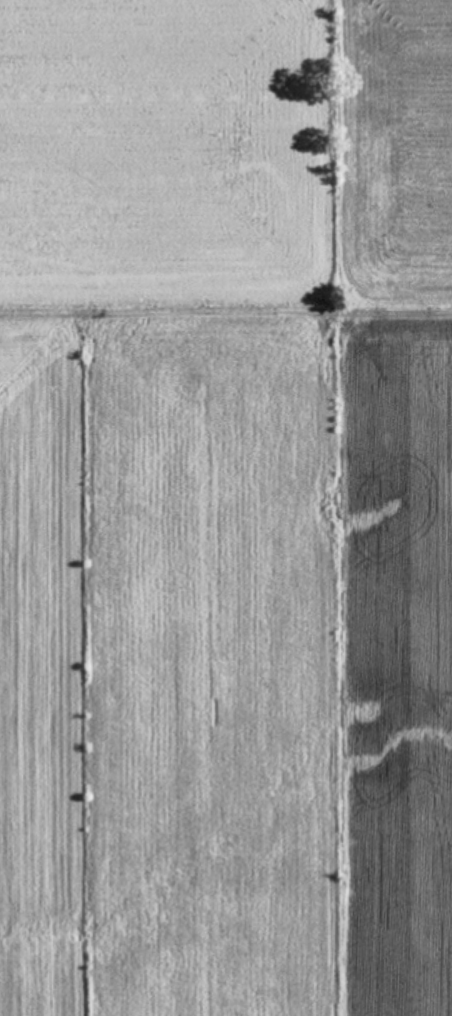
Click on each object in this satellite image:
road: (391, 310)

